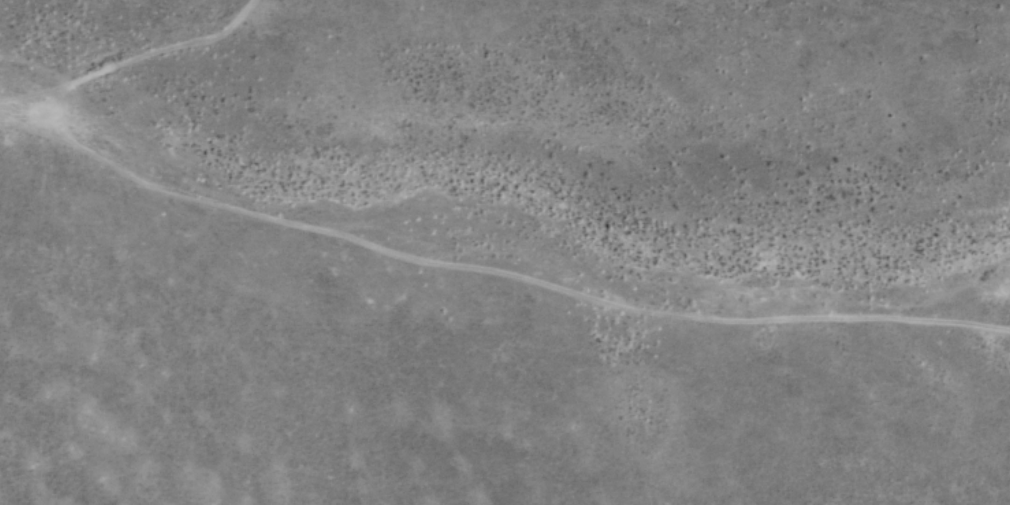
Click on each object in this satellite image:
road: (138, 60)
road: (493, 269)

